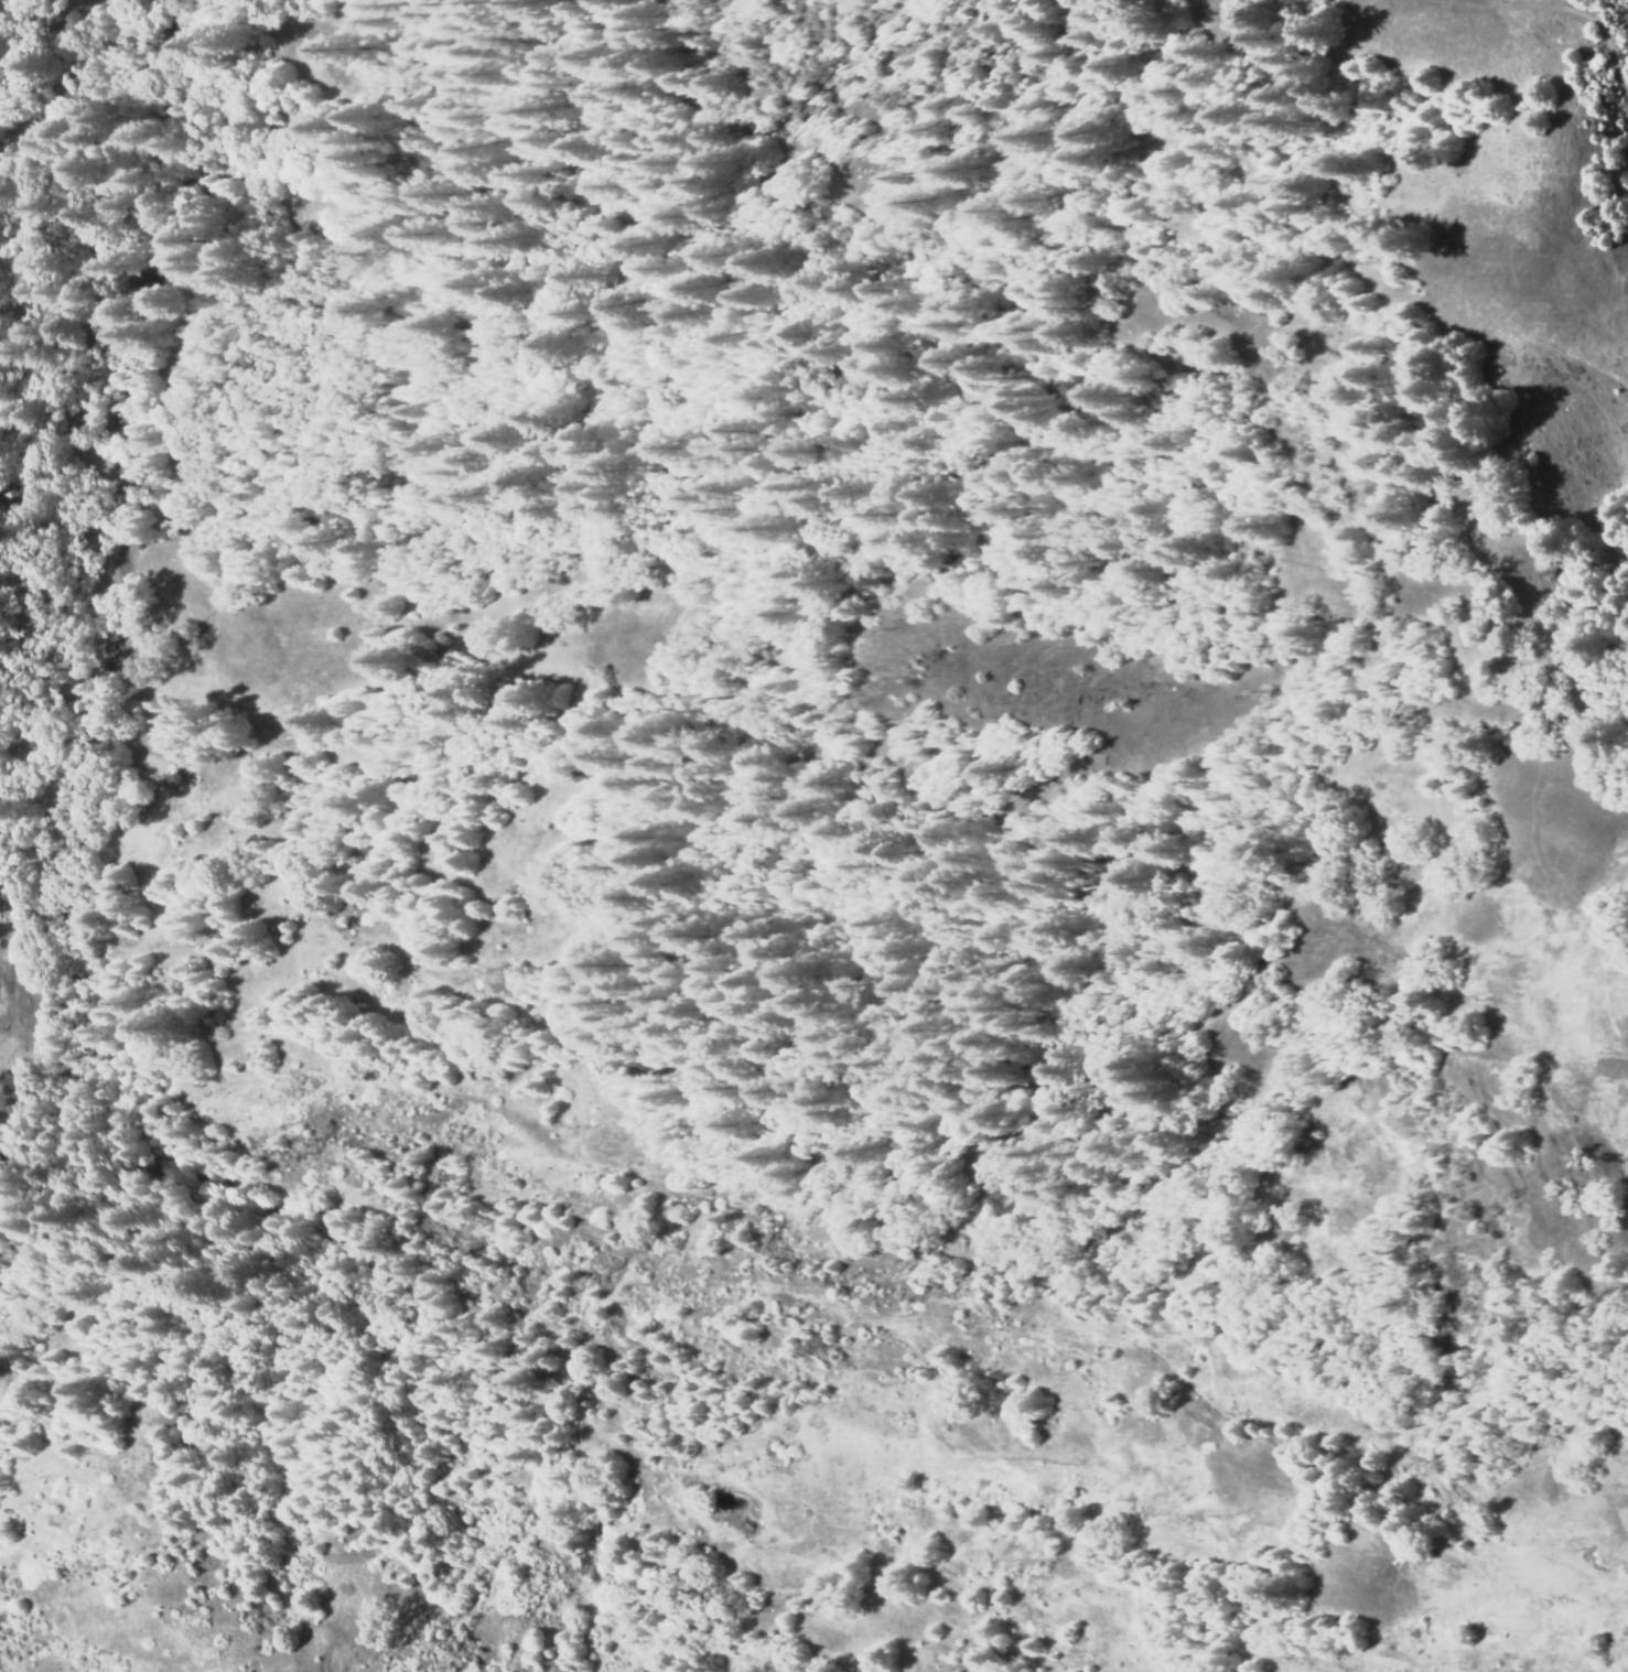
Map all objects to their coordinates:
road: (48, 67)

